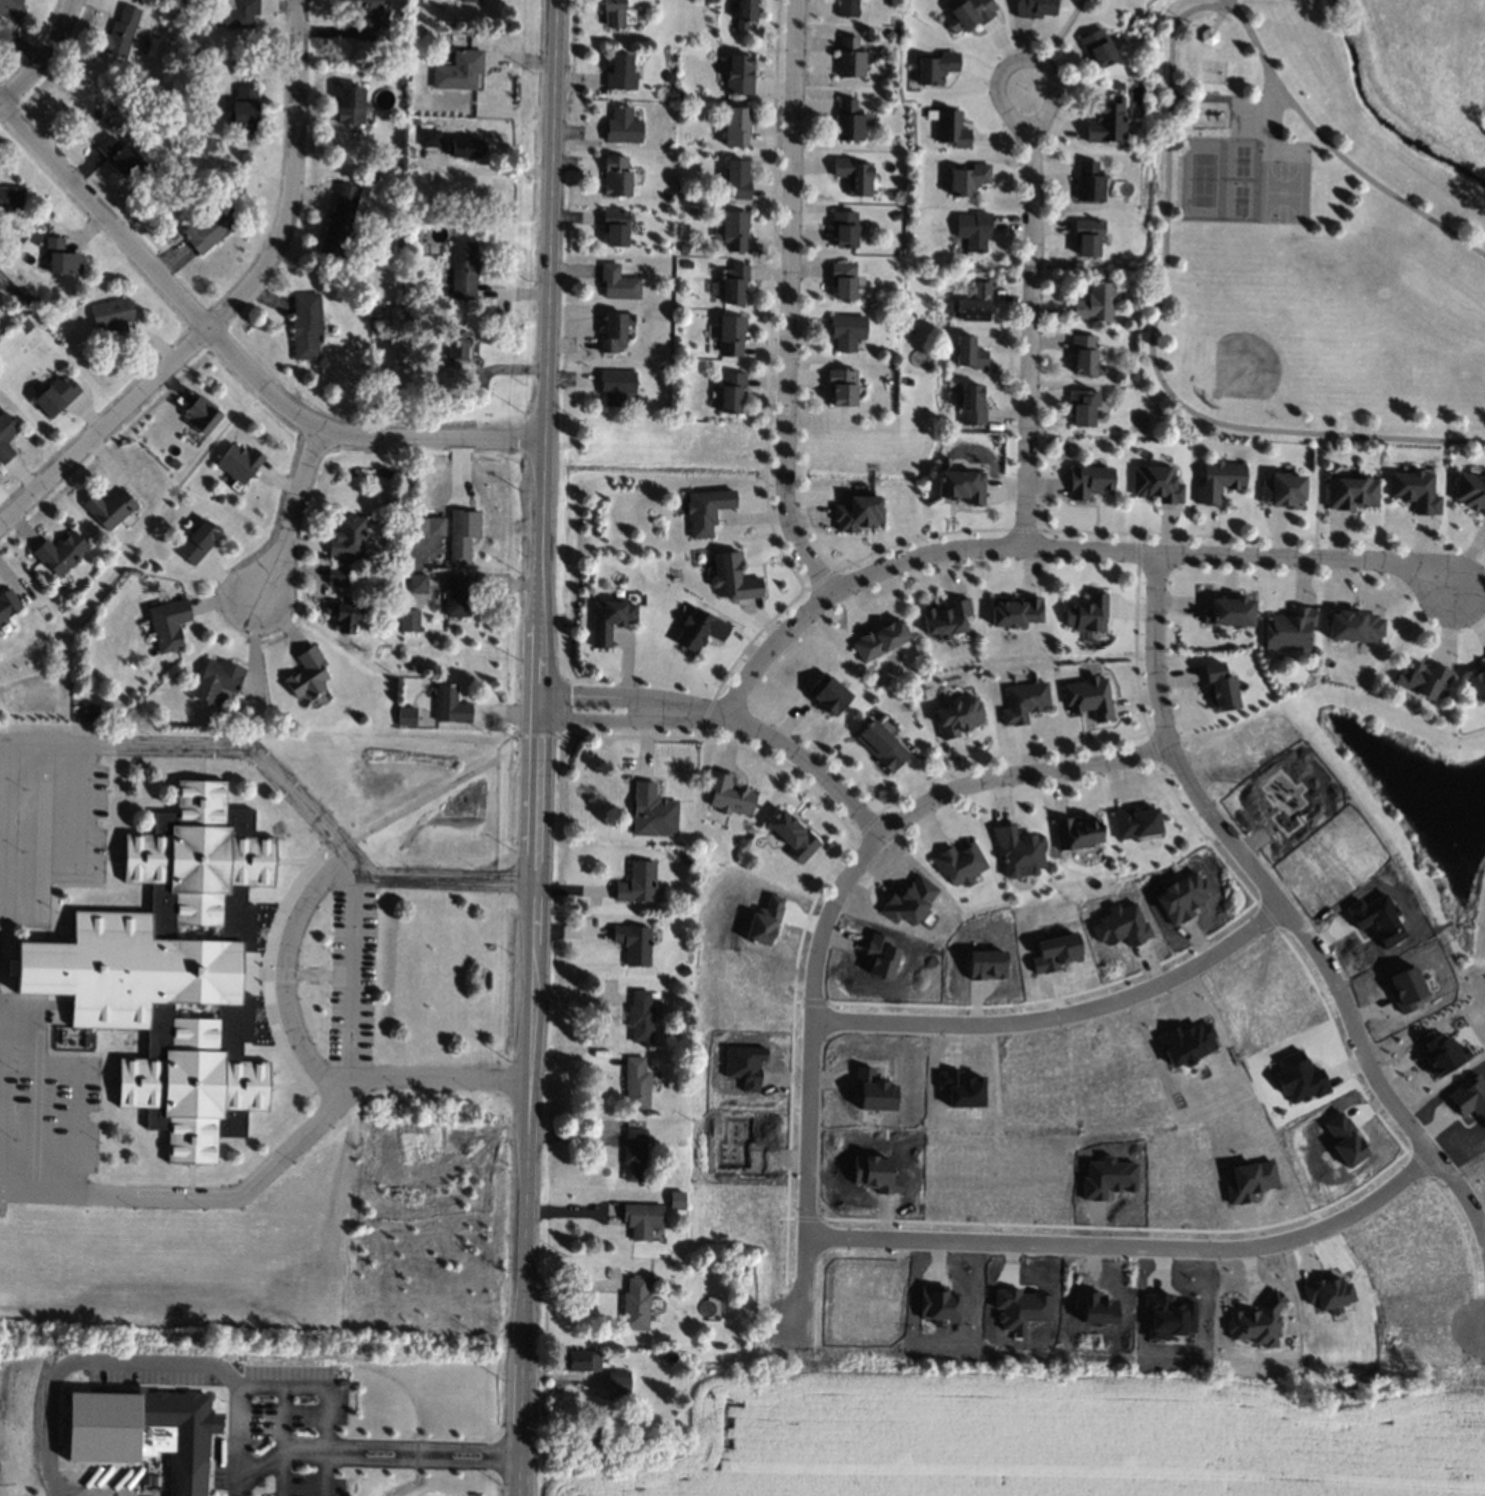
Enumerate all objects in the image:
building: (470, 1)
road: (1231, 4)
building: (848, 8)
building: (1034, 8)
building: (10, 9)
building: (613, 13)
building: (745, 13)
building: (237, 14)
building: (968, 14)
building: (365, 18)
road: (1061, 31)
building: (122, 33)
building: (890, 35)
building: (1207, 36)
building: (193, 38)
building: (1097, 48)
road: (44, 57)
building: (851, 57)
road: (1023, 58)
building: (191, 63)
building: (938, 67)
building: (459, 70)
building: (621, 72)
building: (740, 75)
building: (136, 77)
building: (400, 77)
building: (350, 104)
building: (113, 108)
building: (245, 111)
building: (849, 120)
building: (415, 121)
building: (1107, 122)
building: (737, 125)
building: (623, 127)
building: (950, 128)
building: (687, 136)
building: (430, 137)
building: (465, 148)
building: (122, 156)
road: (1166, 159)
building: (854, 176)
building: (373, 177)
building: (616, 177)
building: (219, 178)
building: (737, 179)
building: (968, 179)
building: (1088, 181)
park: (1221, 181)
park: (1287, 194)
building: (11, 198)
building: (683, 198)
building: (211, 226)
building: (340, 227)
building: (615, 227)
building: (735, 229)
building: (845, 229)
building: (974, 231)
park: (1307, 236)
building: (1087, 237)
building: (684, 248)
building: (62, 257)
building: (687, 264)
building: (463, 270)
building: (843, 280)
building: (618, 283)
building: (734, 283)
building: (30, 298)
road: (233, 302)
road: (787, 302)
building: (1095, 303)
building: (976, 304)
building: (409, 306)
building: (114, 321)
building: (25, 325)
building: (307, 326)
building: (847, 331)
park: (1276, 332)
building: (613, 333)
building: (731, 335)
road: (1028, 343)
building: (456, 351)
building: (970, 353)
road: (232, 354)
building: (1085, 355)
building: (117, 360)
building: (1135, 377)
building: (616, 387)
building: (843, 387)
building: (732, 392)
building: (56, 396)
building: (971, 405)
building: (1083, 407)
building: (202, 415)
building: (965, 426)
building: (1166, 426)
building: (6, 437)
building: (239, 464)
building: (1089, 481)
building: (1218, 481)
building: (1158, 484)
building: (961, 485)
building: (1283, 490)
building: (1415, 490)
building: (1470, 490)
building: (1351, 493)
road: (1317, 495)
road: (477, 507)
building: (110, 508)
building: (705, 510)
building: (857, 511)
road: (291, 516)
building: (437, 526)
building: (348, 536)
building: (198, 542)
road: (1059, 548)
building: (459, 549)
building: (61, 553)
building: (338, 576)
building: (732, 577)
building: (419, 584)
building: (456, 595)
road: (1469, 600)
building: (7, 604)
building: (1015, 610)
building: (1230, 611)
building: (1089, 613)
building: (345, 617)
building: (945, 618)
building: (409, 620)
building: (609, 620)
building: (168, 624)
building: (1354, 626)
building: (1292, 628)
building: (699, 629)
building: (1006, 638)
building: (878, 639)
building: (413, 665)
building: (307, 675)
building: (1424, 678)
building: (218, 680)
building: (1478, 684)
building: (1221, 686)
road: (1157, 692)
building: (827, 693)
road: (635, 695)
building: (1088, 698)
building: (1023, 702)
building: (451, 704)
building: (91, 711)
building: (407, 716)
building: (958, 716)
road: (633, 719)
building: (882, 746)
road: (539, 747)
road: (206, 749)
road: (201, 763)
road: (810, 765)
road: (974, 781)
building: (729, 794)
park: (1414, 797)
parking lot: (51, 810)
building: (654, 812)
road: (494, 819)
building: (1135, 823)
road: (377, 825)
road: (85, 829)
building: (1075, 833)
building: (793, 836)
road: (43, 847)
building: (1018, 852)
road: (114, 857)
building: (687, 859)
road: (295, 862)
building: (958, 864)
building: (637, 883)
building: (1180, 896)
road: (266, 900)
building: (908, 900)
building: (1376, 919)
building: (763, 921)
building: (1119, 925)
building: (634, 943)
building: (1054, 952)
building: (879, 956)
building: (985, 964)
road: (9, 967)
building: (175, 970)
road: (285, 970)
building: (685, 971)
road: (298, 972)
road: (353, 974)
parking lot: (353, 976)
building: (1404, 988)
building: (655, 995)
building: (641, 1017)
road: (1059, 1017)
road: (1352, 1031)
building: (1186, 1043)
road: (262, 1044)
road: (286, 1051)
building: (1440, 1053)
building: (654, 1062)
building: (1298, 1077)
road: (109, 1082)
building: (636, 1083)
building: (960, 1089)
building: (874, 1091)
building: (1469, 1097)
parking lot: (49, 1113)
road: (807, 1121)
building: (1344, 1139)
building: (634, 1154)
road: (190, 1178)
building: (1106, 1178)
building: (1249, 1181)
road: (201, 1195)
building: (676, 1200)
building: (642, 1219)
road: (1480, 1220)
park: (294, 1246)
road: (1129, 1250)
building: (742, 1268)
building: (1326, 1293)
building: (636, 1303)
building: (937, 1304)
building: (1093, 1307)
building: (1019, 1309)
building: (1166, 1316)
building: (1257, 1322)
building: (722, 1346)
building: (671, 1356)
building: (577, 1360)
building: (617, 1380)
road: (276, 1385)
crop: (1032, 1436)
road: (233, 1440)
road: (280, 1440)
road: (275, 1456)
building: (185, 1472)
road: (324, 1474)

